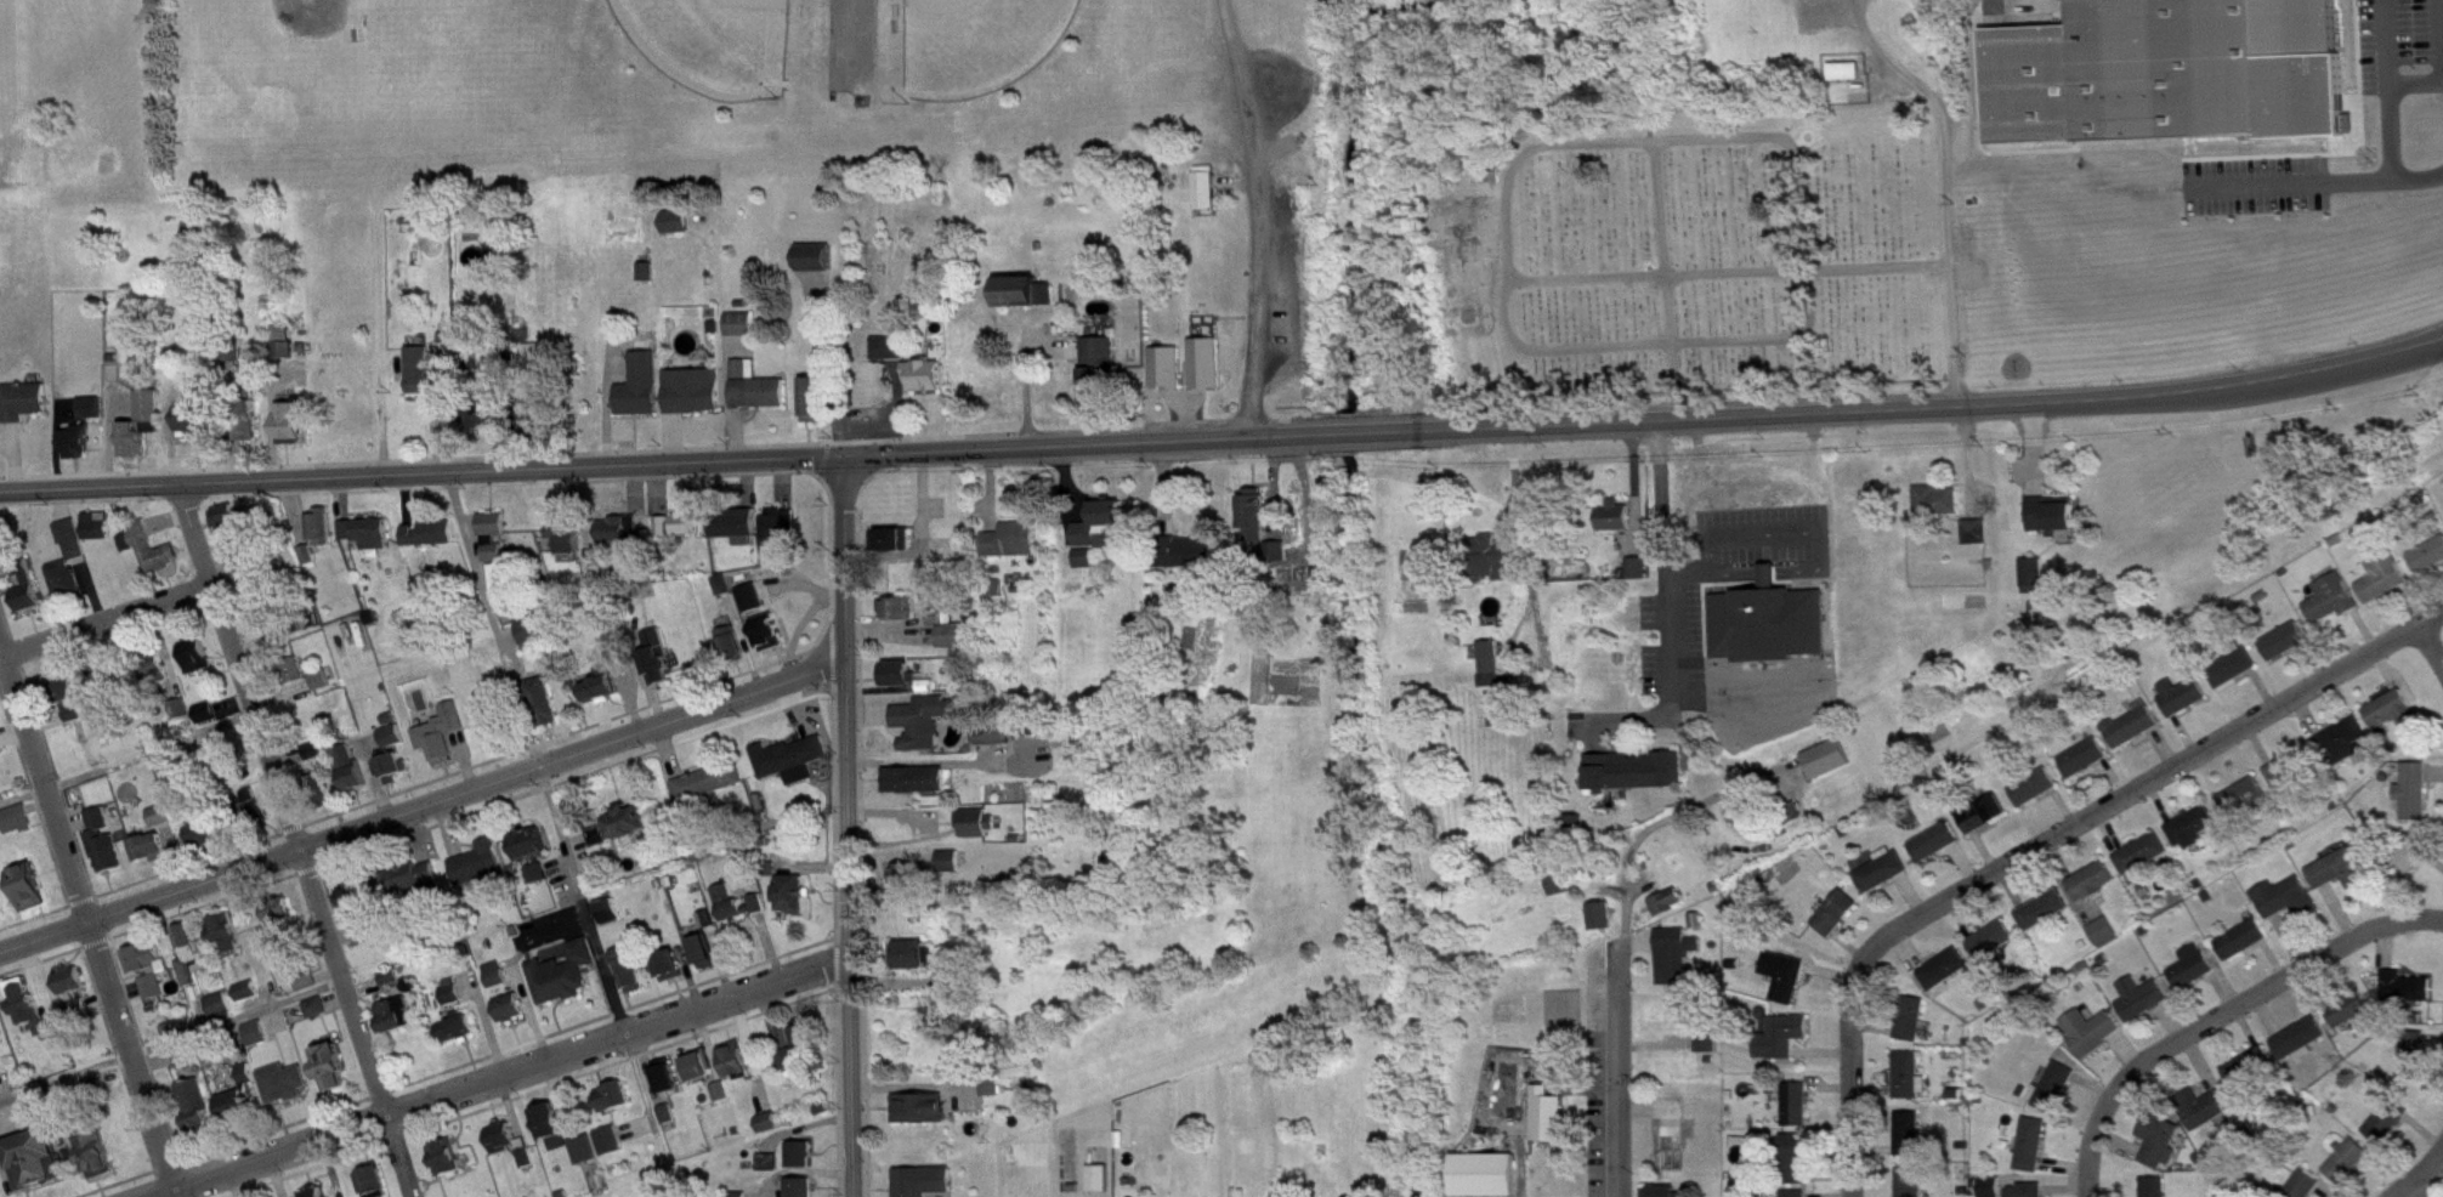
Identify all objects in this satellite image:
road: (1854, 4)
road: (1858, 4)
park: (716, 40)
park: (979, 44)
road: (2441, 61)
building: (2211, 74)
park: (702, 80)
building: (1849, 80)
park: (272, 84)
road: (2393, 119)
road: (1653, 140)
road: (1943, 189)
road: (2296, 194)
building: (1211, 200)
road: (1270, 216)
park: (1729, 228)
building: (680, 231)
building: (812, 255)
building: (818, 266)
road: (1733, 272)
road: (1665, 279)
building: (647, 282)
building: (1027, 301)
building: (922, 318)
building: (743, 334)
building: (279, 339)
road: (1654, 341)
building: (284, 351)
building: (532, 354)
building: (469, 356)
building: (892, 357)
road: (827, 361)
building: (426, 373)
building: (1209, 373)
building: (1104, 375)
building: (1169, 378)
building: (929, 385)
building: (644, 396)
building: (22, 397)
building: (759, 397)
building: (810, 398)
road: (510, 401)
building: (697, 401)
building: (90, 405)
road: (562, 407)
road: (1914, 407)
building: (245, 413)
building: (486, 414)
building: (537, 414)
road: (271, 416)
building: (95, 418)
building: (289, 418)
building: (191, 419)
building: (140, 421)
road: (232, 424)
building: (494, 426)
building: (251, 430)
building: (197, 431)
road: (1339, 432)
road: (442, 433)
road: (57, 436)
road: (171, 437)
building: (75, 442)
road: (1070, 443)
road: (13, 453)
road: (336, 461)
road: (420, 470)
road: (695, 471)
road: (341, 497)
road: (406, 497)
road: (61, 501)
road: (115, 507)
road: (294, 510)
building: (1940, 510)
road: (578, 512)
building: (226, 518)
road: (169, 522)
building: (96, 523)
building: (318, 523)
building: (1617, 524)
building: (2057, 528)
building: (364, 529)
building: (429, 529)
building: (563, 533)
building: (1104, 533)
building: (1264, 534)
building: (69, 535)
building: (101, 535)
building: (681, 535)
building: (738, 535)
building: (782, 538)
building: (124, 539)
building: (623, 539)
building: (1978, 541)
building: (369, 543)
building: (433, 543)
building: (151, 546)
building: (494, 549)
building: (895, 549)
road: (221, 550)
building: (1015, 550)
road: (829, 551)
building: (129, 552)
building: (305, 552)
road: (844, 555)
building: (1191, 562)
road: (1661, 562)
building: (242, 565)
building: (2430, 566)
road: (5, 567)
building: (1088, 568)
building: (1501, 569)
building: (63, 578)
building: (244, 578)
building: (1642, 578)
building: (720, 583)
building: (23, 585)
building: (2035, 585)
road: (90, 586)
building: (505, 588)
building: (2385, 588)
building: (726, 594)
building: (29, 597)
building: (267, 600)
building: (755, 607)
building: (2334, 609)
road: (180, 612)
road: (106, 617)
building: (903, 618)
building: (293, 623)
building: (943, 626)
building: (527, 632)
building: (1772, 632)
road: (260, 636)
road: (742, 639)
building: (772, 641)
building: (729, 643)
building: (532, 645)
building: (958, 646)
road: (163, 649)
building: (192, 651)
building: (2288, 651)
road: (2427, 651)
road: (74, 653)
road: (831, 656)
building: (151, 663)
building: (661, 664)
building: (290, 666)
road: (221, 669)
building: (1493, 673)
building: (317, 676)
building: (2237, 677)
building: (296, 680)
road: (204, 682)
building: (900, 683)
road: (279, 688)
building: (98, 690)
building: (323, 690)
building: (64, 697)
building: (539, 698)
road: (231, 700)
building: (176, 705)
building: (2184, 705)
building: (203, 709)
building: (181, 719)
road: (44, 720)
building: (2394, 720)
building: (76, 722)
building: (208, 722)
building: (106, 726)
road: (12, 730)
building: (925, 731)
building: (437, 732)
building: (389, 733)
building: (2137, 734)
building: (997, 744)
building: (395, 745)
road: (46, 747)
building: (311, 747)
building: (442, 747)
building: (2350, 748)
building: (216, 749)
road: (534, 751)
road: (287, 755)
road: (126, 758)
building: (164, 759)
road: (464, 759)
building: (317, 760)
building: (390, 762)
building: (346, 765)
building: (794, 768)
building: (1831, 768)
building: (2086, 768)
road: (376, 772)
road: (369, 775)
building: (1637, 781)
building: (2290, 781)
road: (415, 783)
road: (2152, 783)
building: (316, 788)
building: (919, 789)
building: (712, 792)
building: (2037, 796)
road: (33, 798)
road: (283, 798)
road: (8, 802)
road: (423, 805)
building: (2246, 805)
building: (250, 806)
building: (157, 812)
road: (834, 813)
building: (13, 816)
road: (70, 821)
building: (1986, 823)
building: (1747, 824)
building: (163, 826)
road: (447, 826)
building: (18, 829)
road: (415, 829)
building: (204, 832)
building: (633, 832)
building: (980, 833)
road: (416, 835)
building: (2198, 835)
building: (101, 838)
building: (528, 838)
road: (1633, 841)
building: (209, 843)
building: (605, 845)
building: (147, 846)
building: (1938, 852)
road: (174, 853)
building: (532, 853)
road: (860, 853)
building: (153, 857)
building: (476, 860)
road: (557, 862)
building: (2146, 863)
building: (537, 869)
building: (952, 872)
building: (410, 875)
building: (2342, 879)
building: (1886, 880)
building: (542, 883)
building: (906, 884)
building: (25, 885)
building: (416, 889)
building: (355, 890)
building: (2096, 891)
building: (1565, 892)
road: (330, 898)
building: (795, 903)
building: (279, 906)
building: (358, 906)
building: (2289, 908)
building: (1671, 912)
building: (0, 913)
building: (732, 913)
building: (759, 914)
building: (613, 920)
building: (2046, 920)
building: (283, 921)
building: (373, 923)
building: (1840, 923)
road: (90, 924)
building: (1604, 925)
building: (225, 926)
road: (307, 927)
road: (846, 927)
road: (346, 931)
building: (280, 935)
building: (2108, 942)
building: (186, 948)
building: (1995, 948)
building: (2245, 949)
building: (141, 952)
building: (909, 954)
road: (837, 960)
building: (708, 961)
building: (667, 963)
road: (685, 965)
building: (1676, 966)
building: (561, 969)
building: (149, 970)
road: (327, 970)
building: (494, 970)
building: (389, 972)
building: (68, 975)
building: (674, 975)
building: (305, 976)
building: (2195, 976)
road: (36, 977)
building: (1948, 978)
building: (634, 980)
road: (362, 981)
road: (897, 981)
building: (151, 982)
building: (498, 983)
building: (964, 983)
building: (246, 986)
building: (1787, 986)
building: (393, 987)
building: (450, 989)
building: (73, 991)
building: (308, 991)
road: (114, 993)
building: (155, 997)
road: (336, 997)
building: (2409, 997)
building: (219, 1000)
building: (250, 1000)
building: (454, 1000)
road: (251, 1002)
building: (314, 1003)
building: (509, 1003)
building: (30, 1004)
building: (76, 1005)
road: (204, 1005)
road: (528, 1005)
road: (200, 1008)
building: (2144, 1008)
building: (395, 1010)
building: (222, 1012)
road: (2224, 1015)
road: (238, 1016)
building: (80, 1017)
road: (273, 1017)
building: (319, 1017)
building: (514, 1017)
building: (2352, 1019)
road: (487, 1020)
building: (455, 1023)
building: (399, 1025)
building: (255, 1028)
building: (1915, 1028)
building: (459, 1037)
road: (236, 1040)
building: (2095, 1042)
building: (257, 1043)
building: (811, 1045)
road: (143, 1046)
building: (1785, 1046)
building: (2302, 1049)
building: (182, 1050)
building: (1710, 1050)
road: (118, 1056)
road: (155, 1060)
building: (330, 1062)
building: (186, 1065)
building: (2416, 1065)
road: (453, 1066)
building: (1, 1068)
building: (738, 1068)
road: (1617, 1068)
building: (790, 1070)
road: (66, 1074)
building: (703, 1076)
road: (494, 1077)
building: (282, 1078)
road: (1852, 1078)
building: (2254, 1078)
building: (95, 1079)
building: (1912, 1085)
building: (670, 1087)
building: (614, 1090)
road: (527, 1091)
road: (839, 1091)
road: (1, 1093)
building: (240, 1093)
road: (645, 1093)
road: (561, 1096)
building: (996, 1096)
building: (2058, 1097)
building: (725, 1101)
building: (194, 1102)
building: (618, 1107)
road: (512, 1110)
building: (239, 1114)
building: (1799, 1114)
building: (2207, 1117)
building: (924, 1118)
building: (551, 1121)
building: (671, 1124)
building: (1552, 1124)
building: (772, 1131)
building: (501, 1133)
building: (2387, 1133)
building: (610, 1135)
building: (1912, 1144)
building: (584, 1145)
building: (96, 1147)
building: (506, 1147)
building: (2163, 1150)
building: (613, 1151)
building: (446, 1152)
building: (563, 1152)
building: (526, 1153)
building: (2035, 1155)
road: (401, 1156)
building: (588, 1159)
building: (803, 1164)
road: (330, 1167)
building: (529, 1168)
building: (1797, 1169)
building: (2350, 1170)
building: (772, 1172)
road: (277, 1174)
road: (2420, 1174)
building: (374, 1176)
building: (1489, 1180)
building: (1103, 1186)
building: (928, 1187)
building: (1914, 1187)
building: (313, 1190)
building: (2307, 1190)
building: (1994, 1191)
building: (2158, 1191)
building: (803, 1192)
building: (2029, 1195)
building: (1665, 1196)

